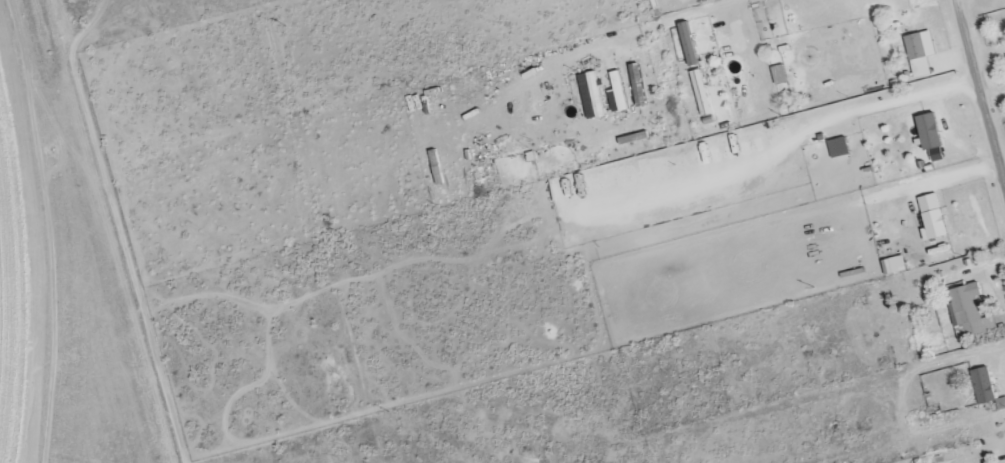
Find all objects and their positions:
building: (691, 45)
building: (923, 54)
building: (780, 76)
building: (620, 92)
building: (703, 94)
road: (980, 97)
road: (886, 101)
building: (933, 133)
building: (841, 148)
road: (896, 191)
building: (935, 218)
building: (896, 266)
crop: (65, 274)
building: (967, 313)
building: (980, 386)

